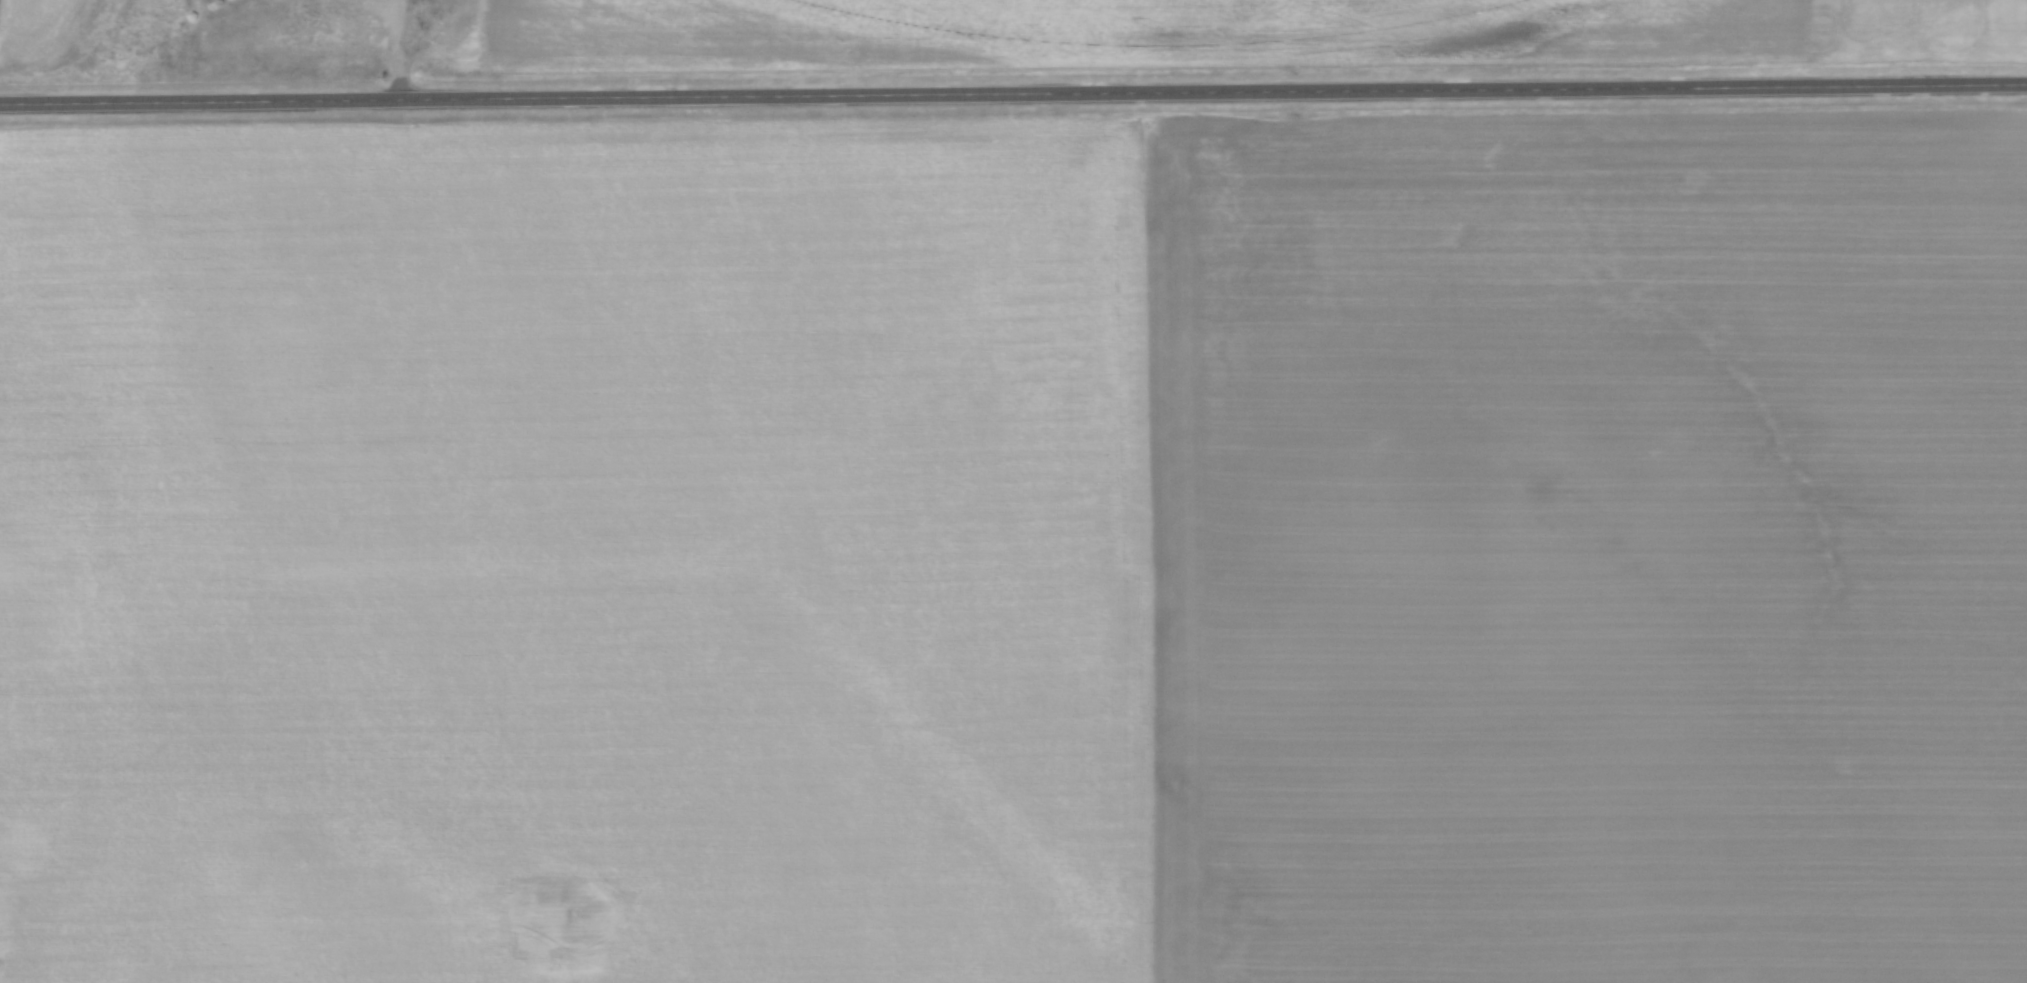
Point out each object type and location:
crop: (1235, 32)
road: (403, 48)
road: (1013, 93)
crop: (1017, 550)

